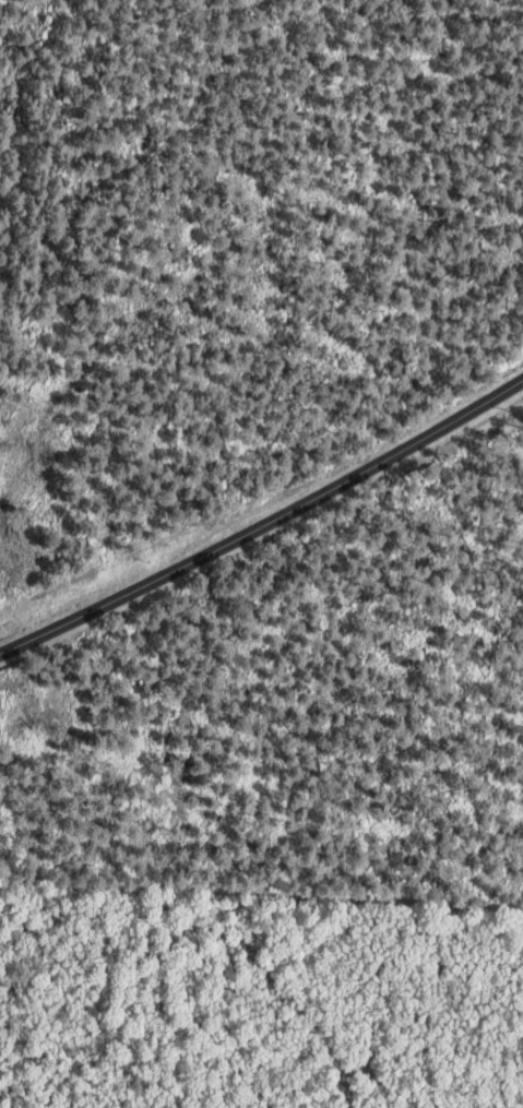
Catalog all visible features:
road: (264, 521)

